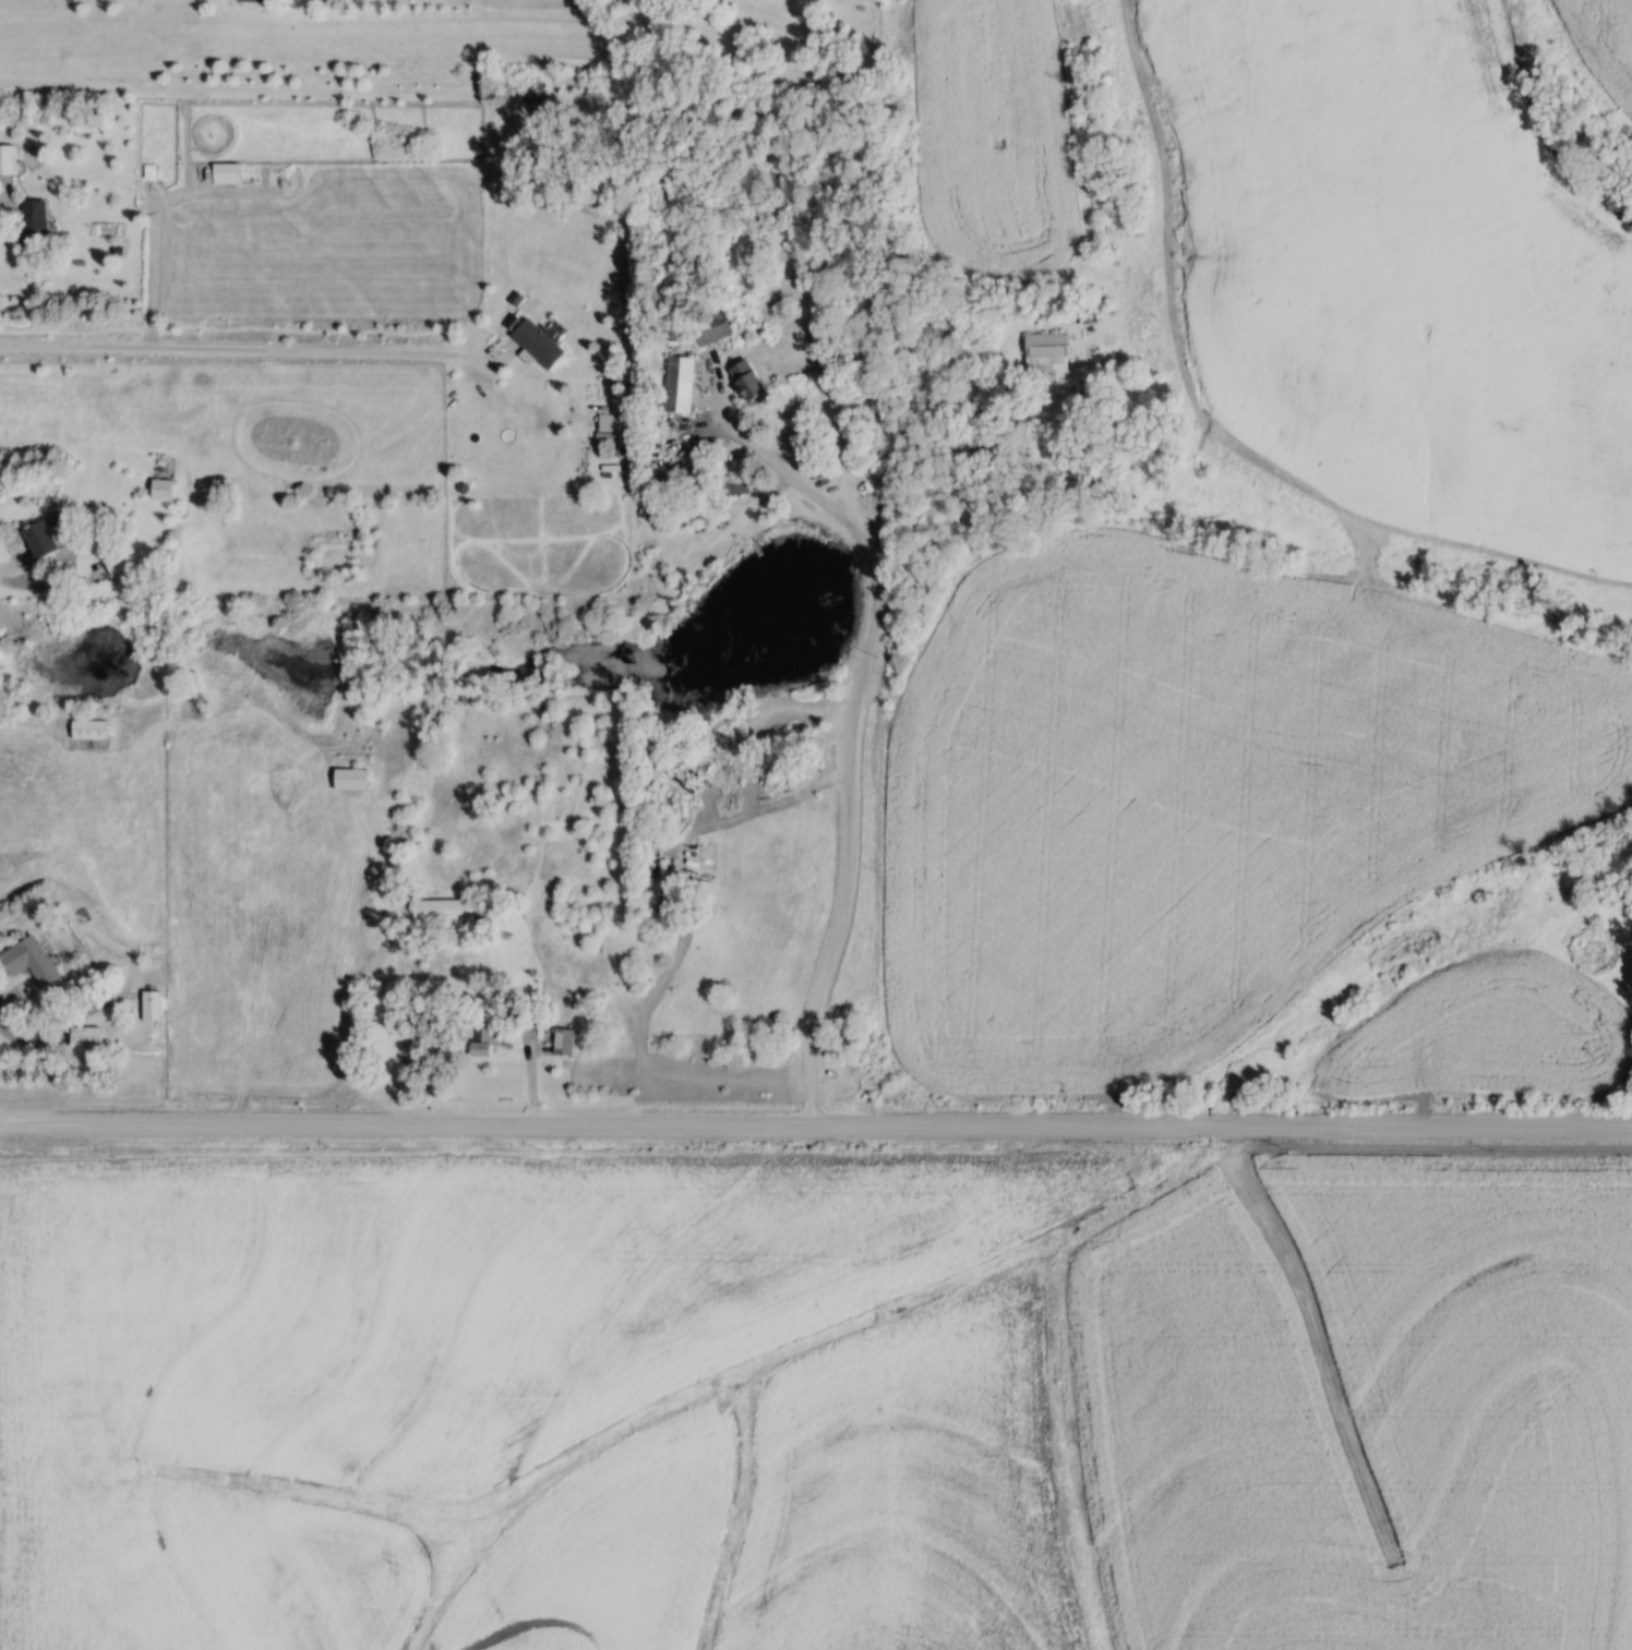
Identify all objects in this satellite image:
building: (250, 0)
building: (7, 159)
building: (224, 173)
building: (32, 221)
building: (712, 328)
building: (535, 341)
road: (249, 350)
building: (1044, 351)
building: (746, 382)
building: (677, 384)
building: (614, 422)
building: (159, 489)
building: (39, 538)
building: (116, 561)
building: (87, 730)
road: (850, 740)
building: (348, 779)
building: (441, 910)
building: (27, 960)
building: (148, 1004)
building: (84, 1036)
building: (483, 1041)
building: (562, 1041)
road: (816, 1127)

